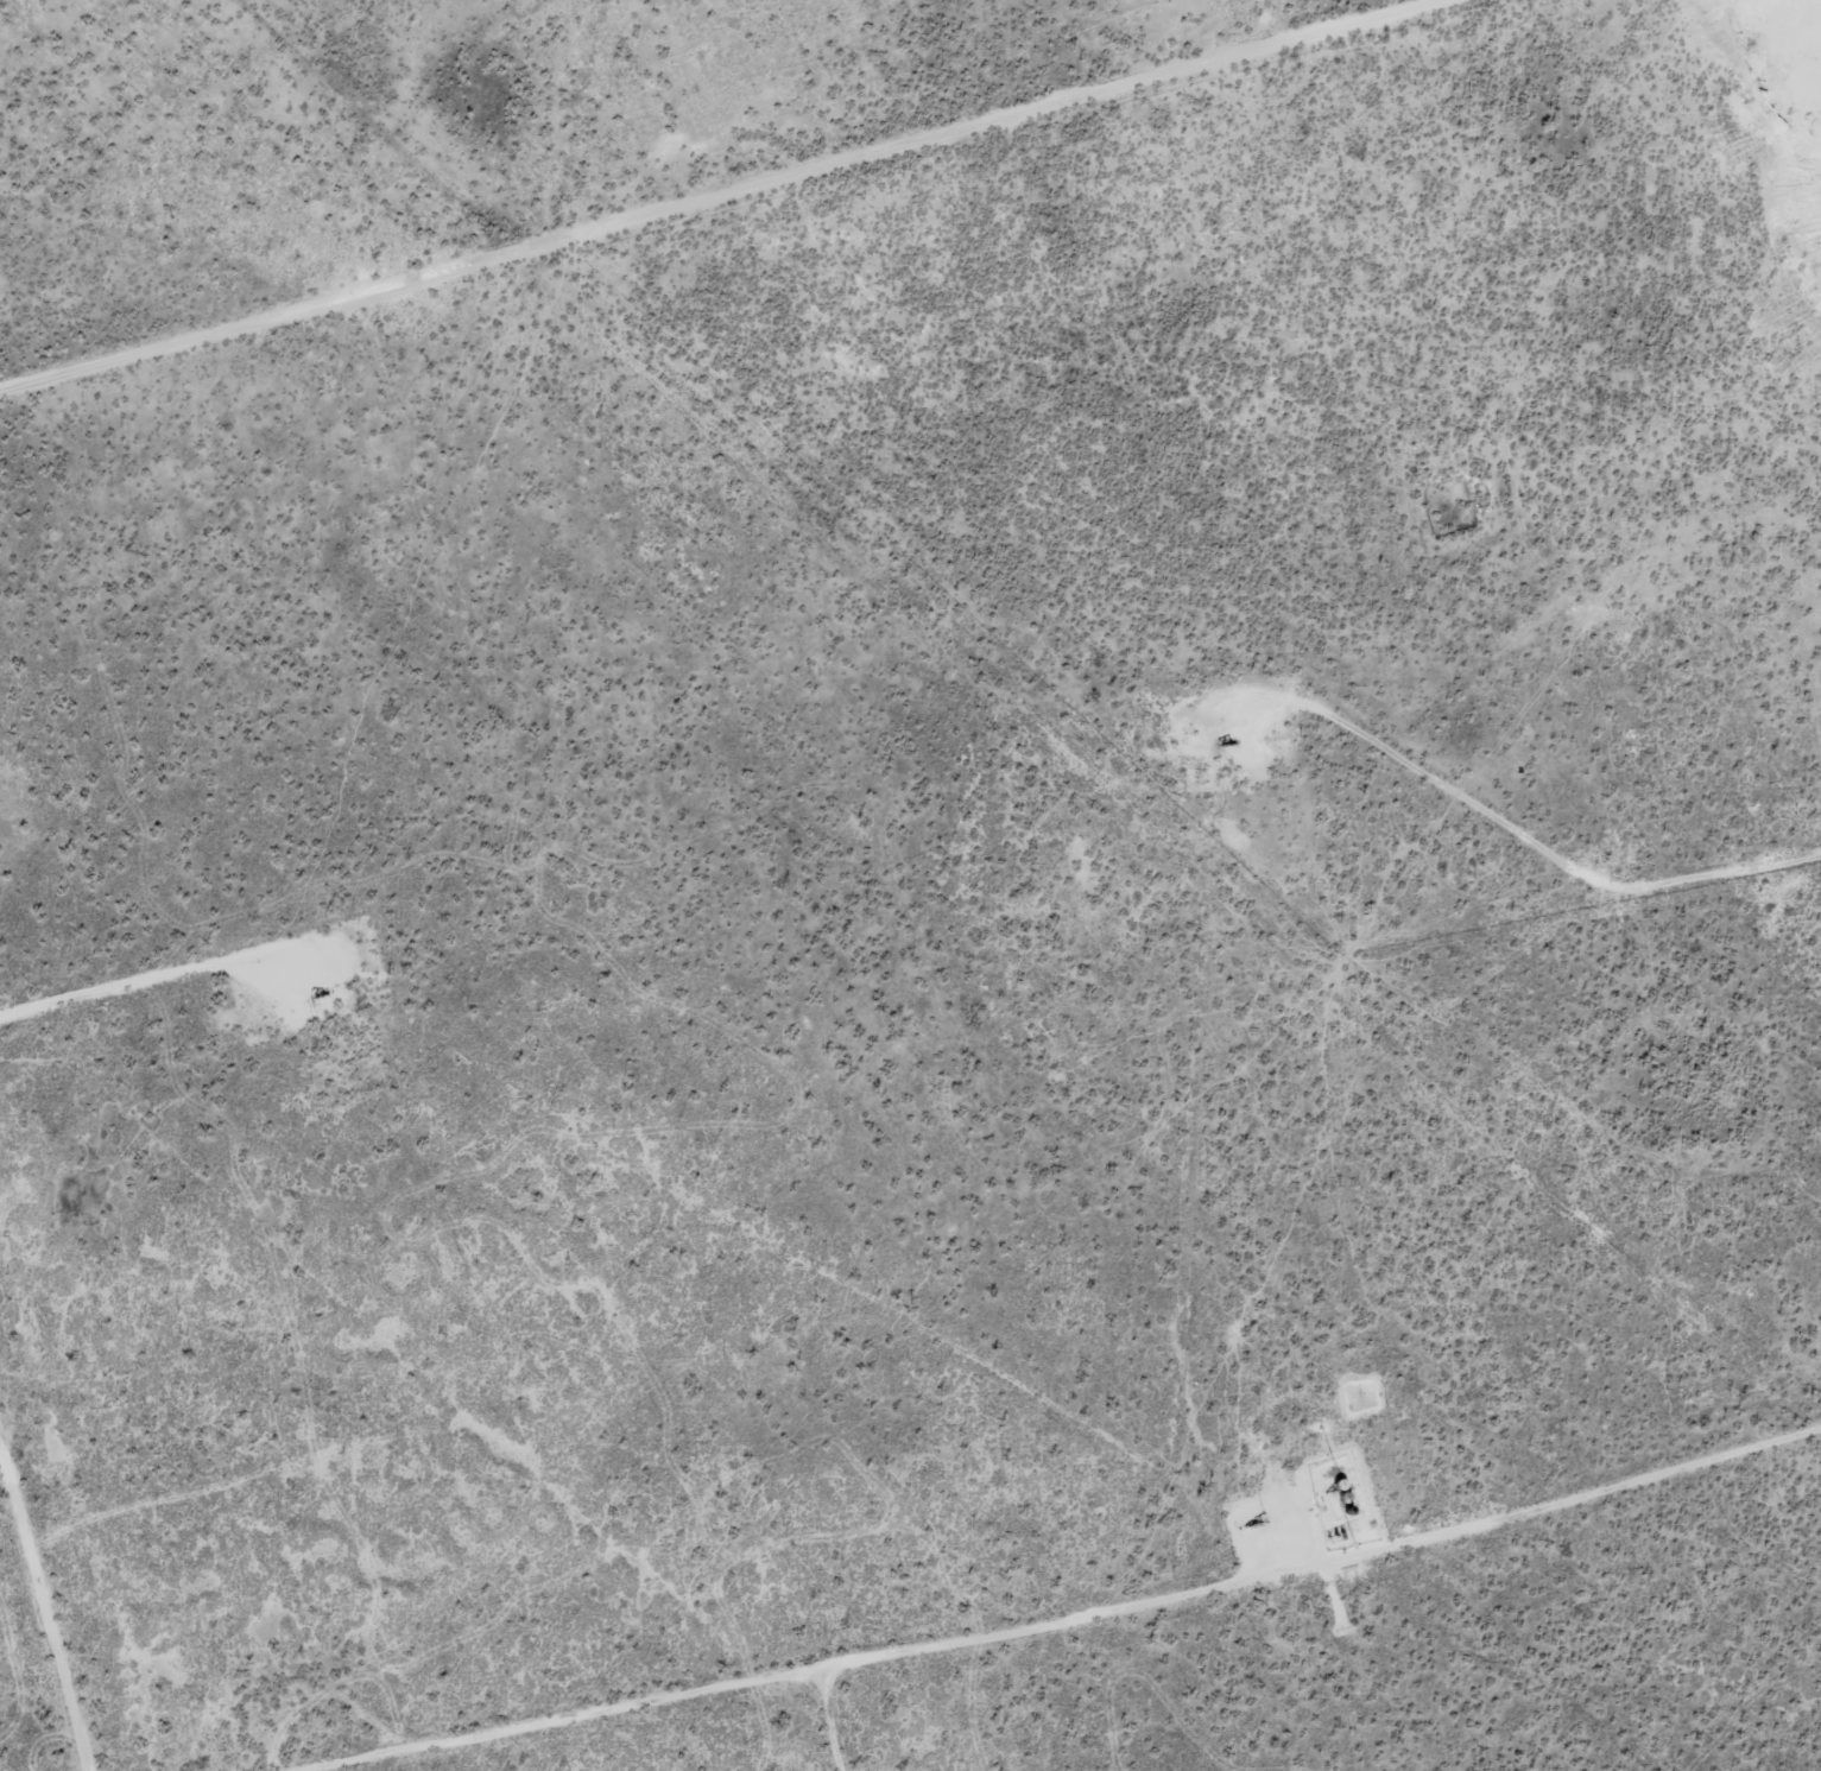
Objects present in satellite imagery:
road: (727, 197)
road: (43, 1607)
road: (1060, 1624)
road: (829, 1721)

